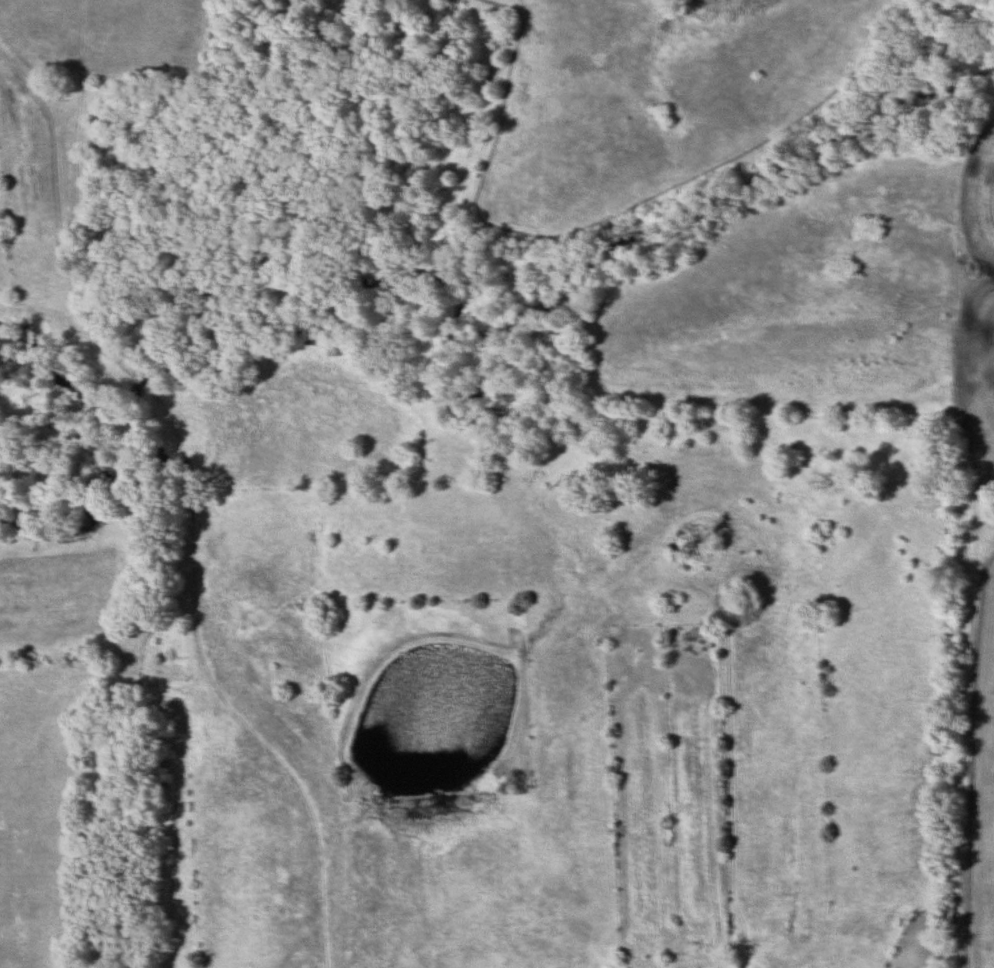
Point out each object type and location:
building: (949, 906)

